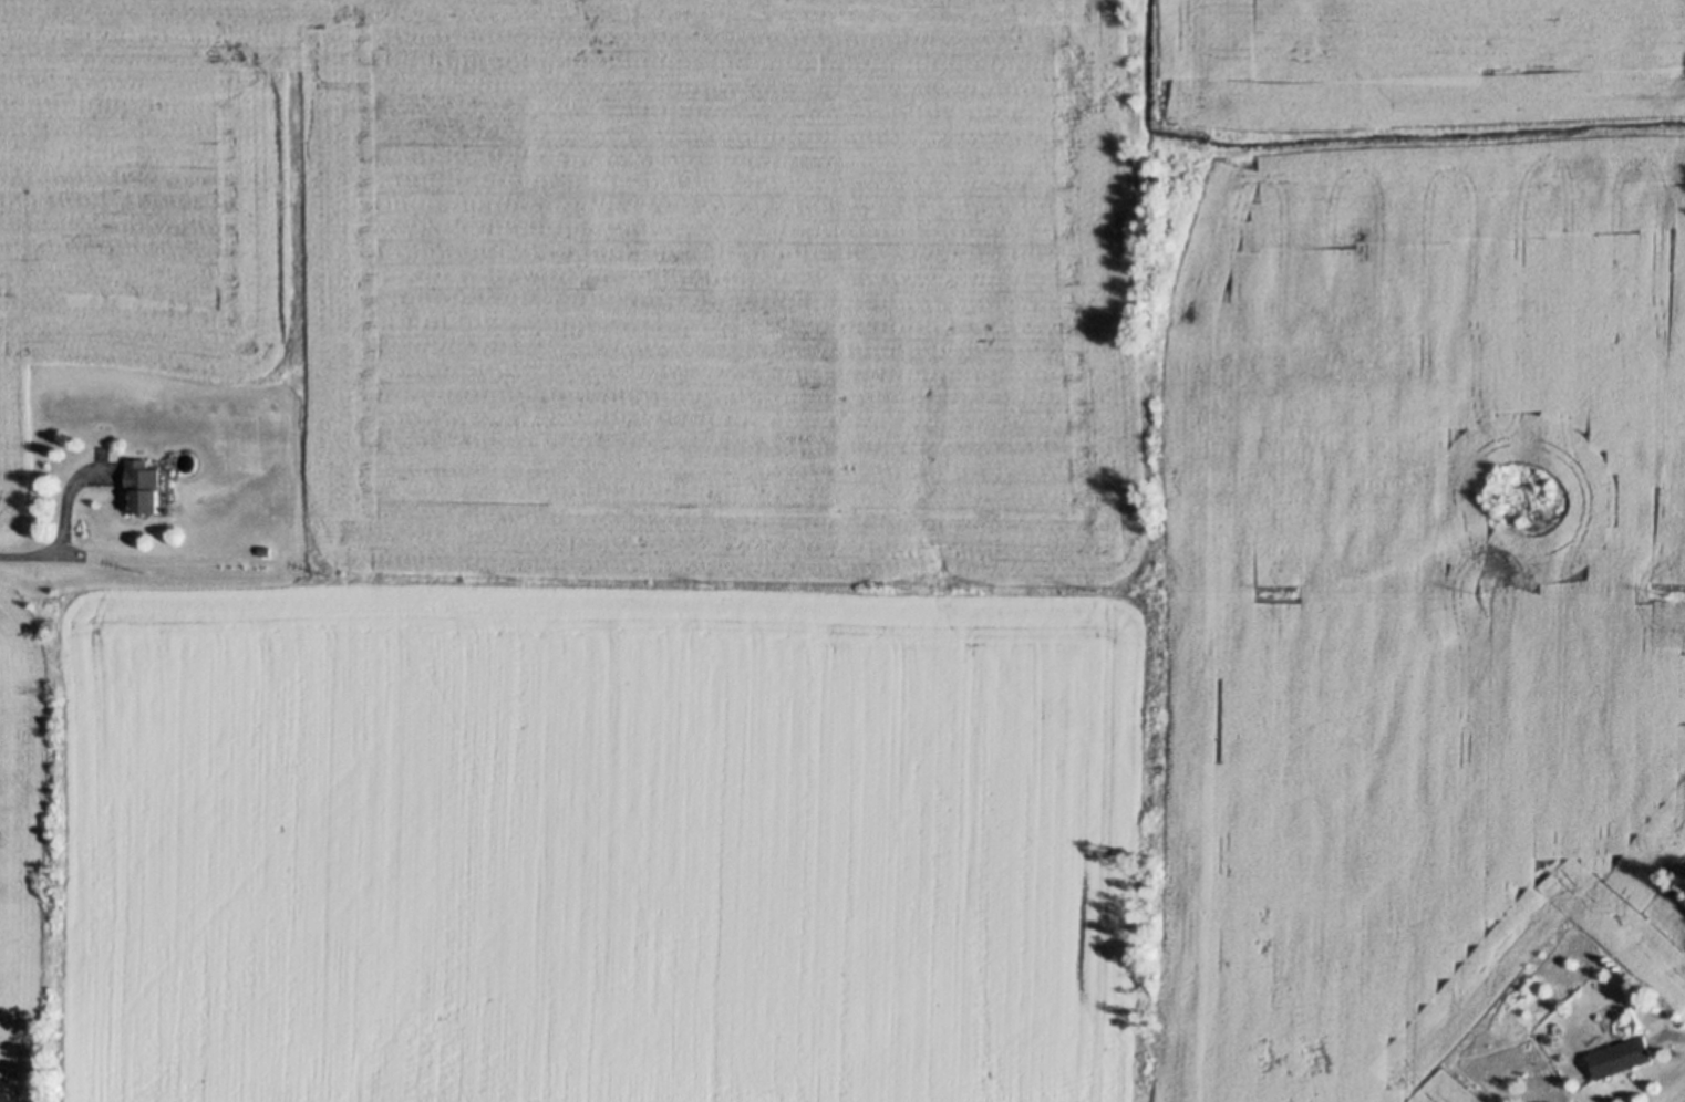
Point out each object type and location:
building: (144, 479)
road: (64, 522)
building: (266, 545)
building: (1623, 1052)

